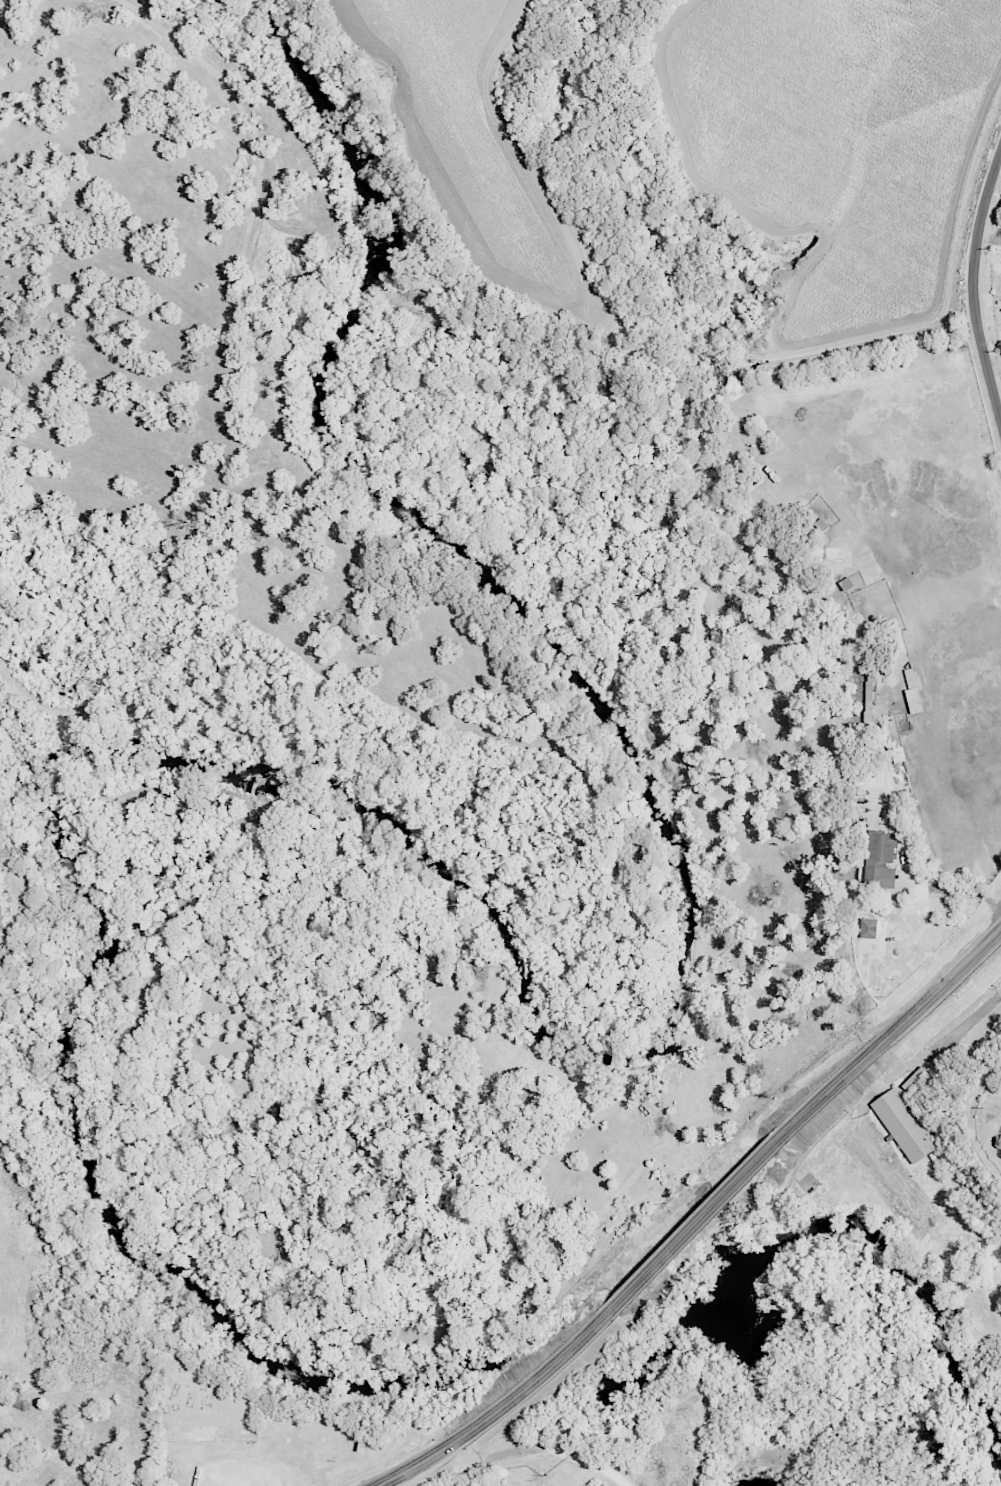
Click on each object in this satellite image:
crop: (474, 134)
crop: (836, 152)
road: (989, 236)
road: (972, 287)
building: (915, 690)
building: (884, 859)
building: (2, 904)
building: (872, 928)
river: (519, 955)
road: (892, 1035)
road: (874, 1093)
road: (971, 1121)
building: (906, 1126)
road: (701, 1220)
river: (822, 1318)
road: (567, 1356)
river: (550, 1370)
road: (449, 1447)
road: (535, 1447)

